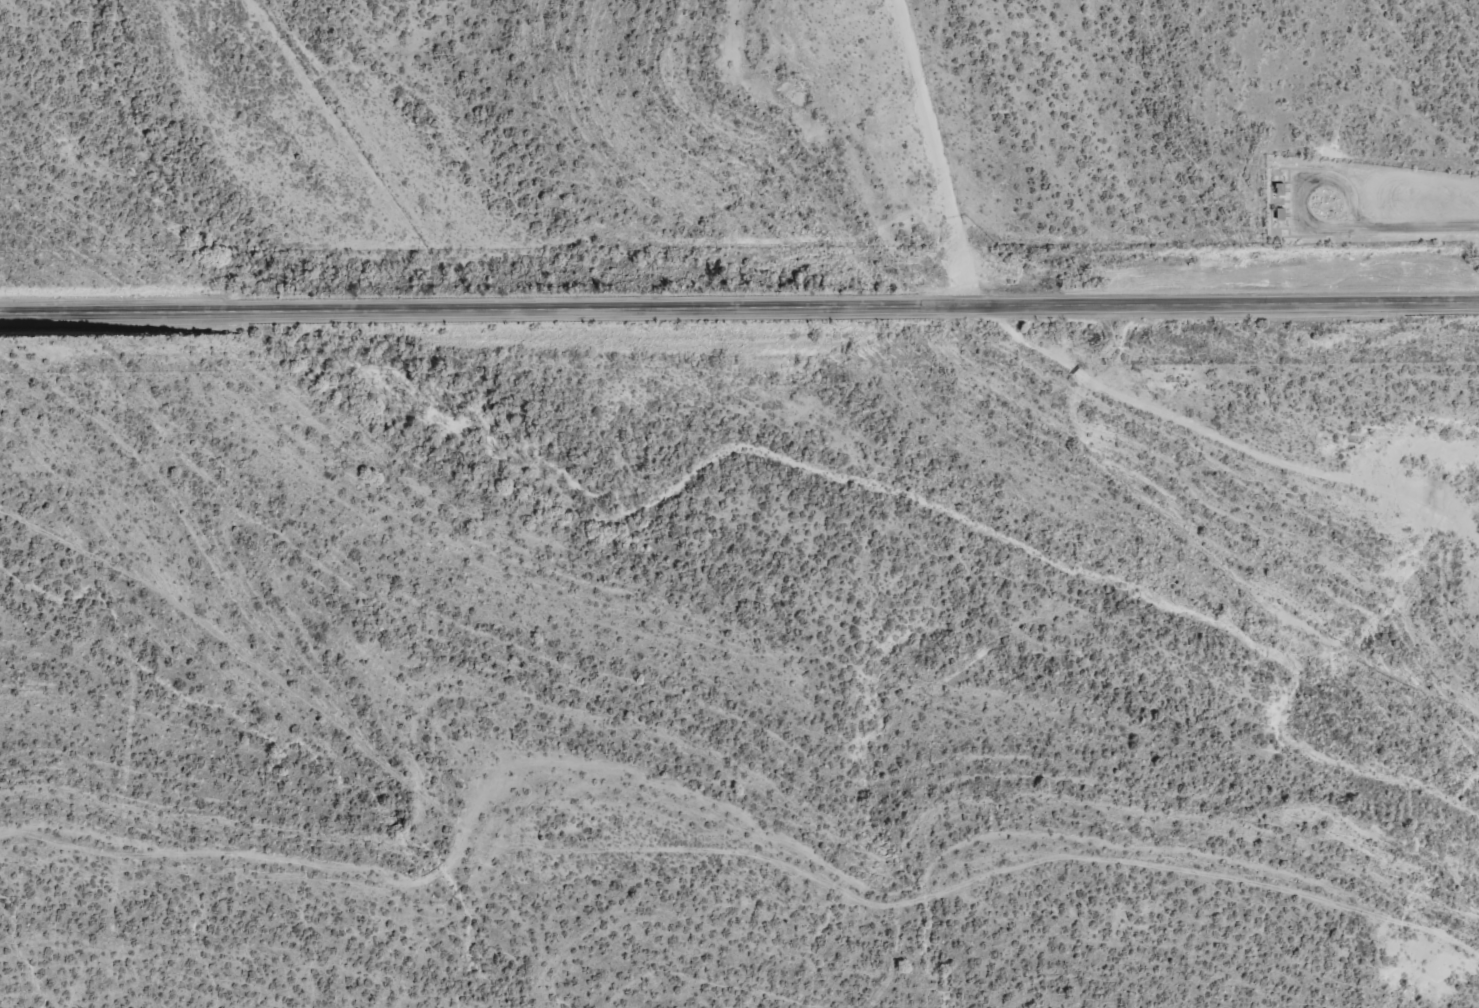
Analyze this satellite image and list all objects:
road: (1307, 185)
building: (1276, 189)
building: (1274, 213)
road: (1415, 227)
road: (739, 307)
road: (1253, 443)

